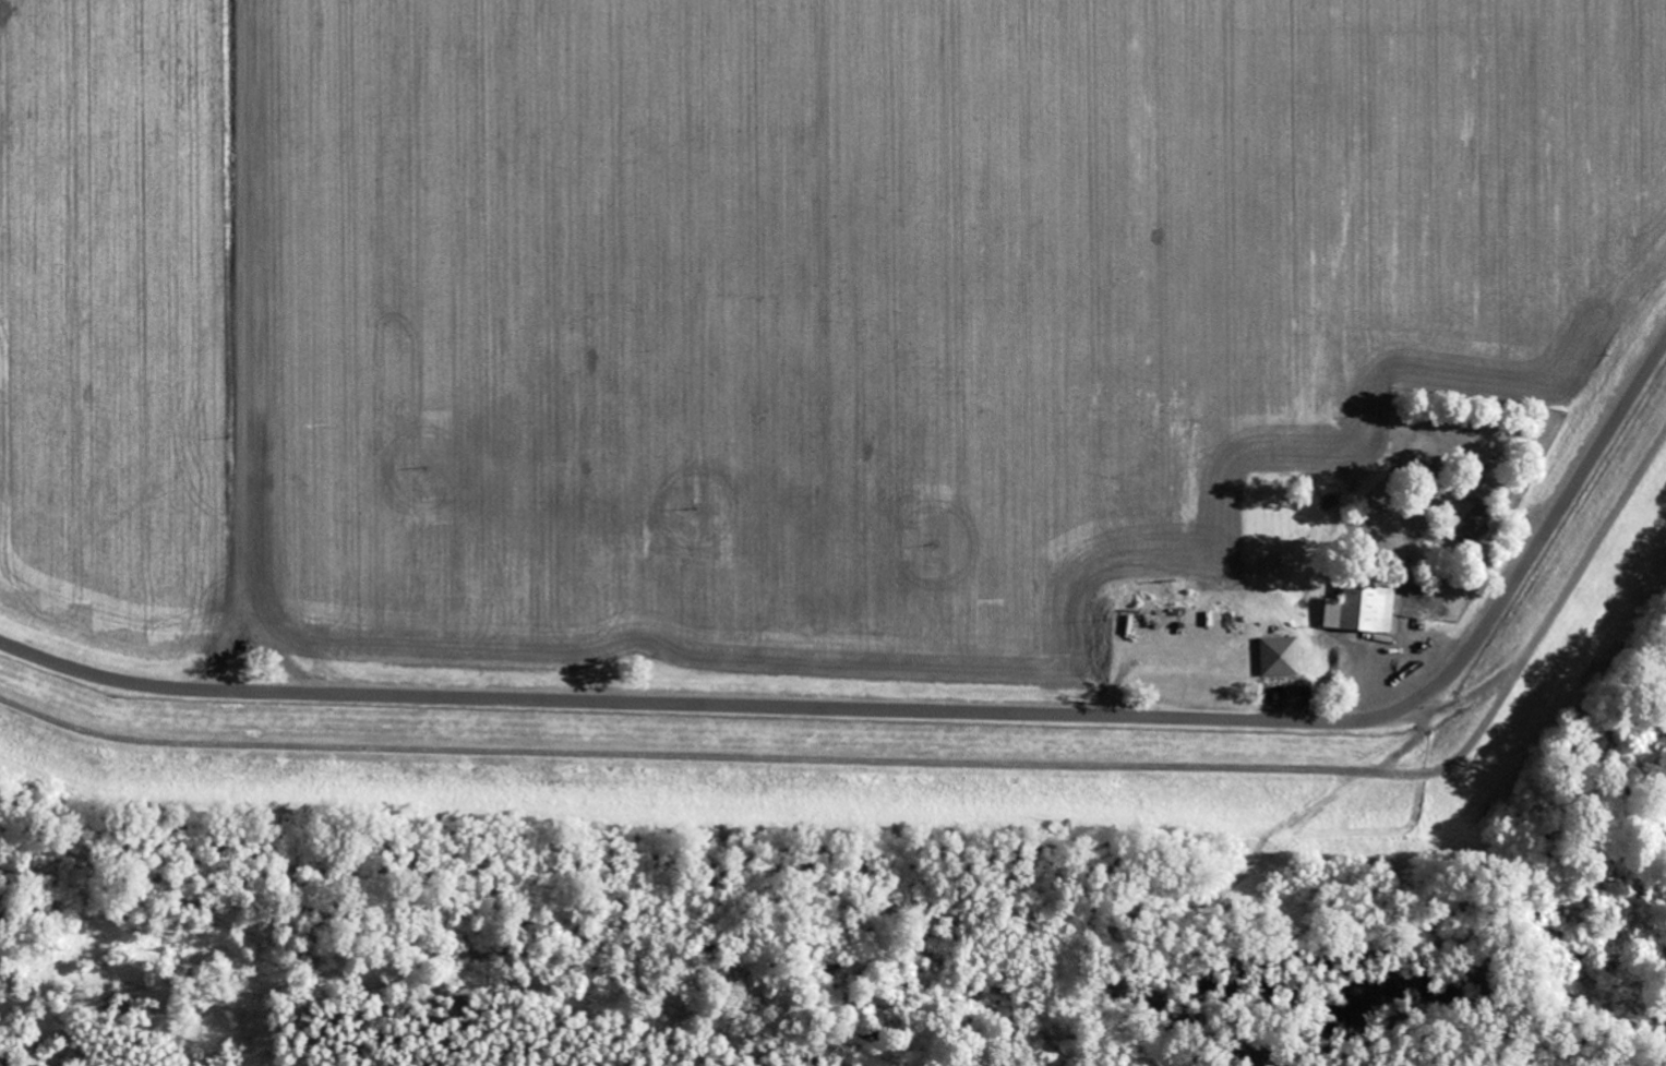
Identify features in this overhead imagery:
road: (242, 346)
building: (1358, 602)
building: (1286, 655)
road: (926, 709)
road: (1416, 743)
road: (922, 759)
road: (1309, 806)

